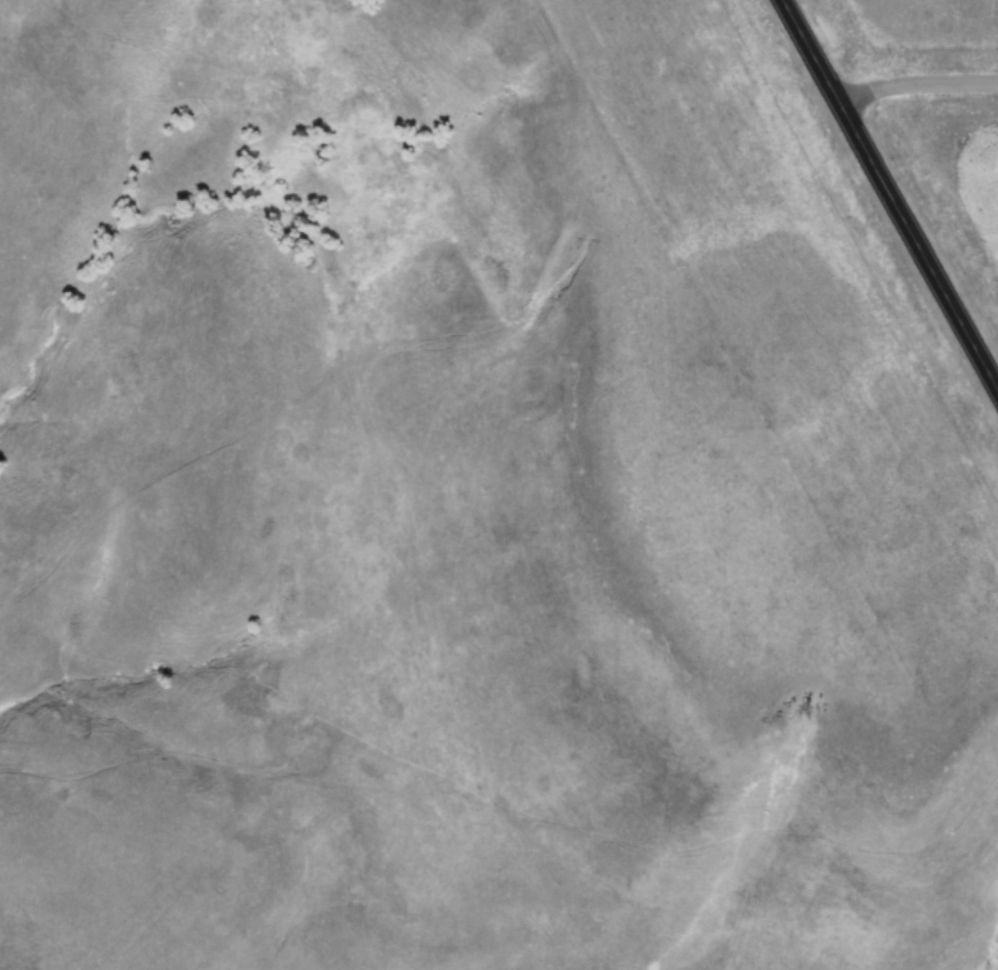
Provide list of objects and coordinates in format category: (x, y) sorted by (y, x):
road: (918, 87)
road: (893, 189)

